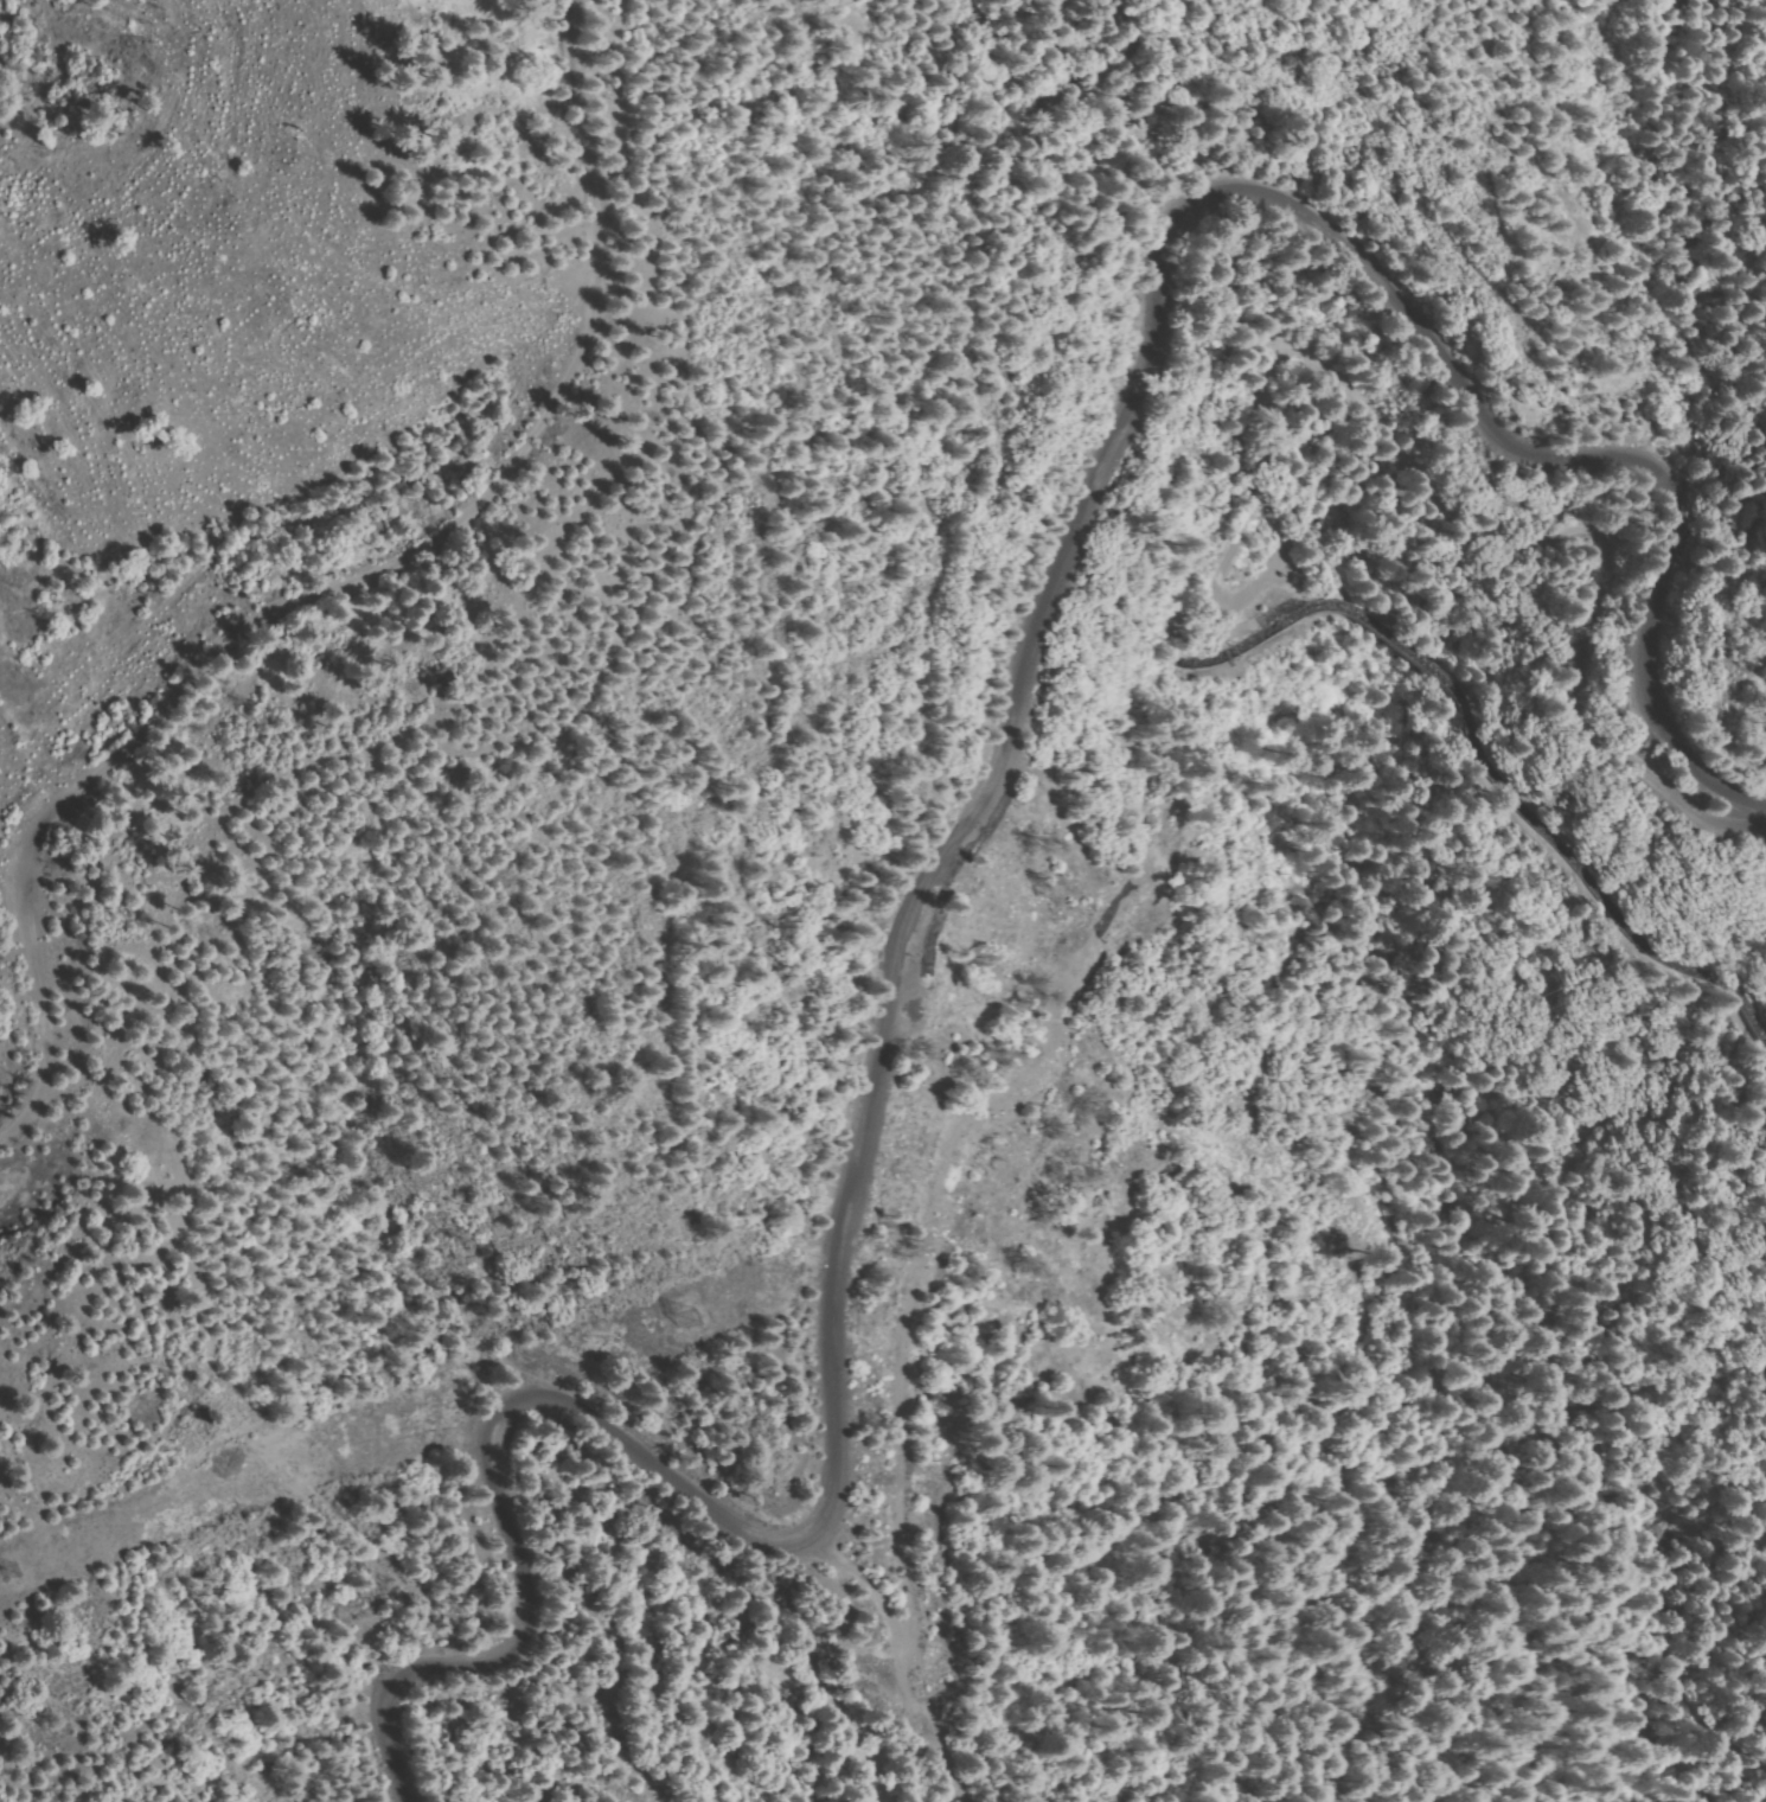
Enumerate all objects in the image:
road: (352, 583)
road: (978, 775)
power tower: (677, 1318)
power tower: (4, 1572)

